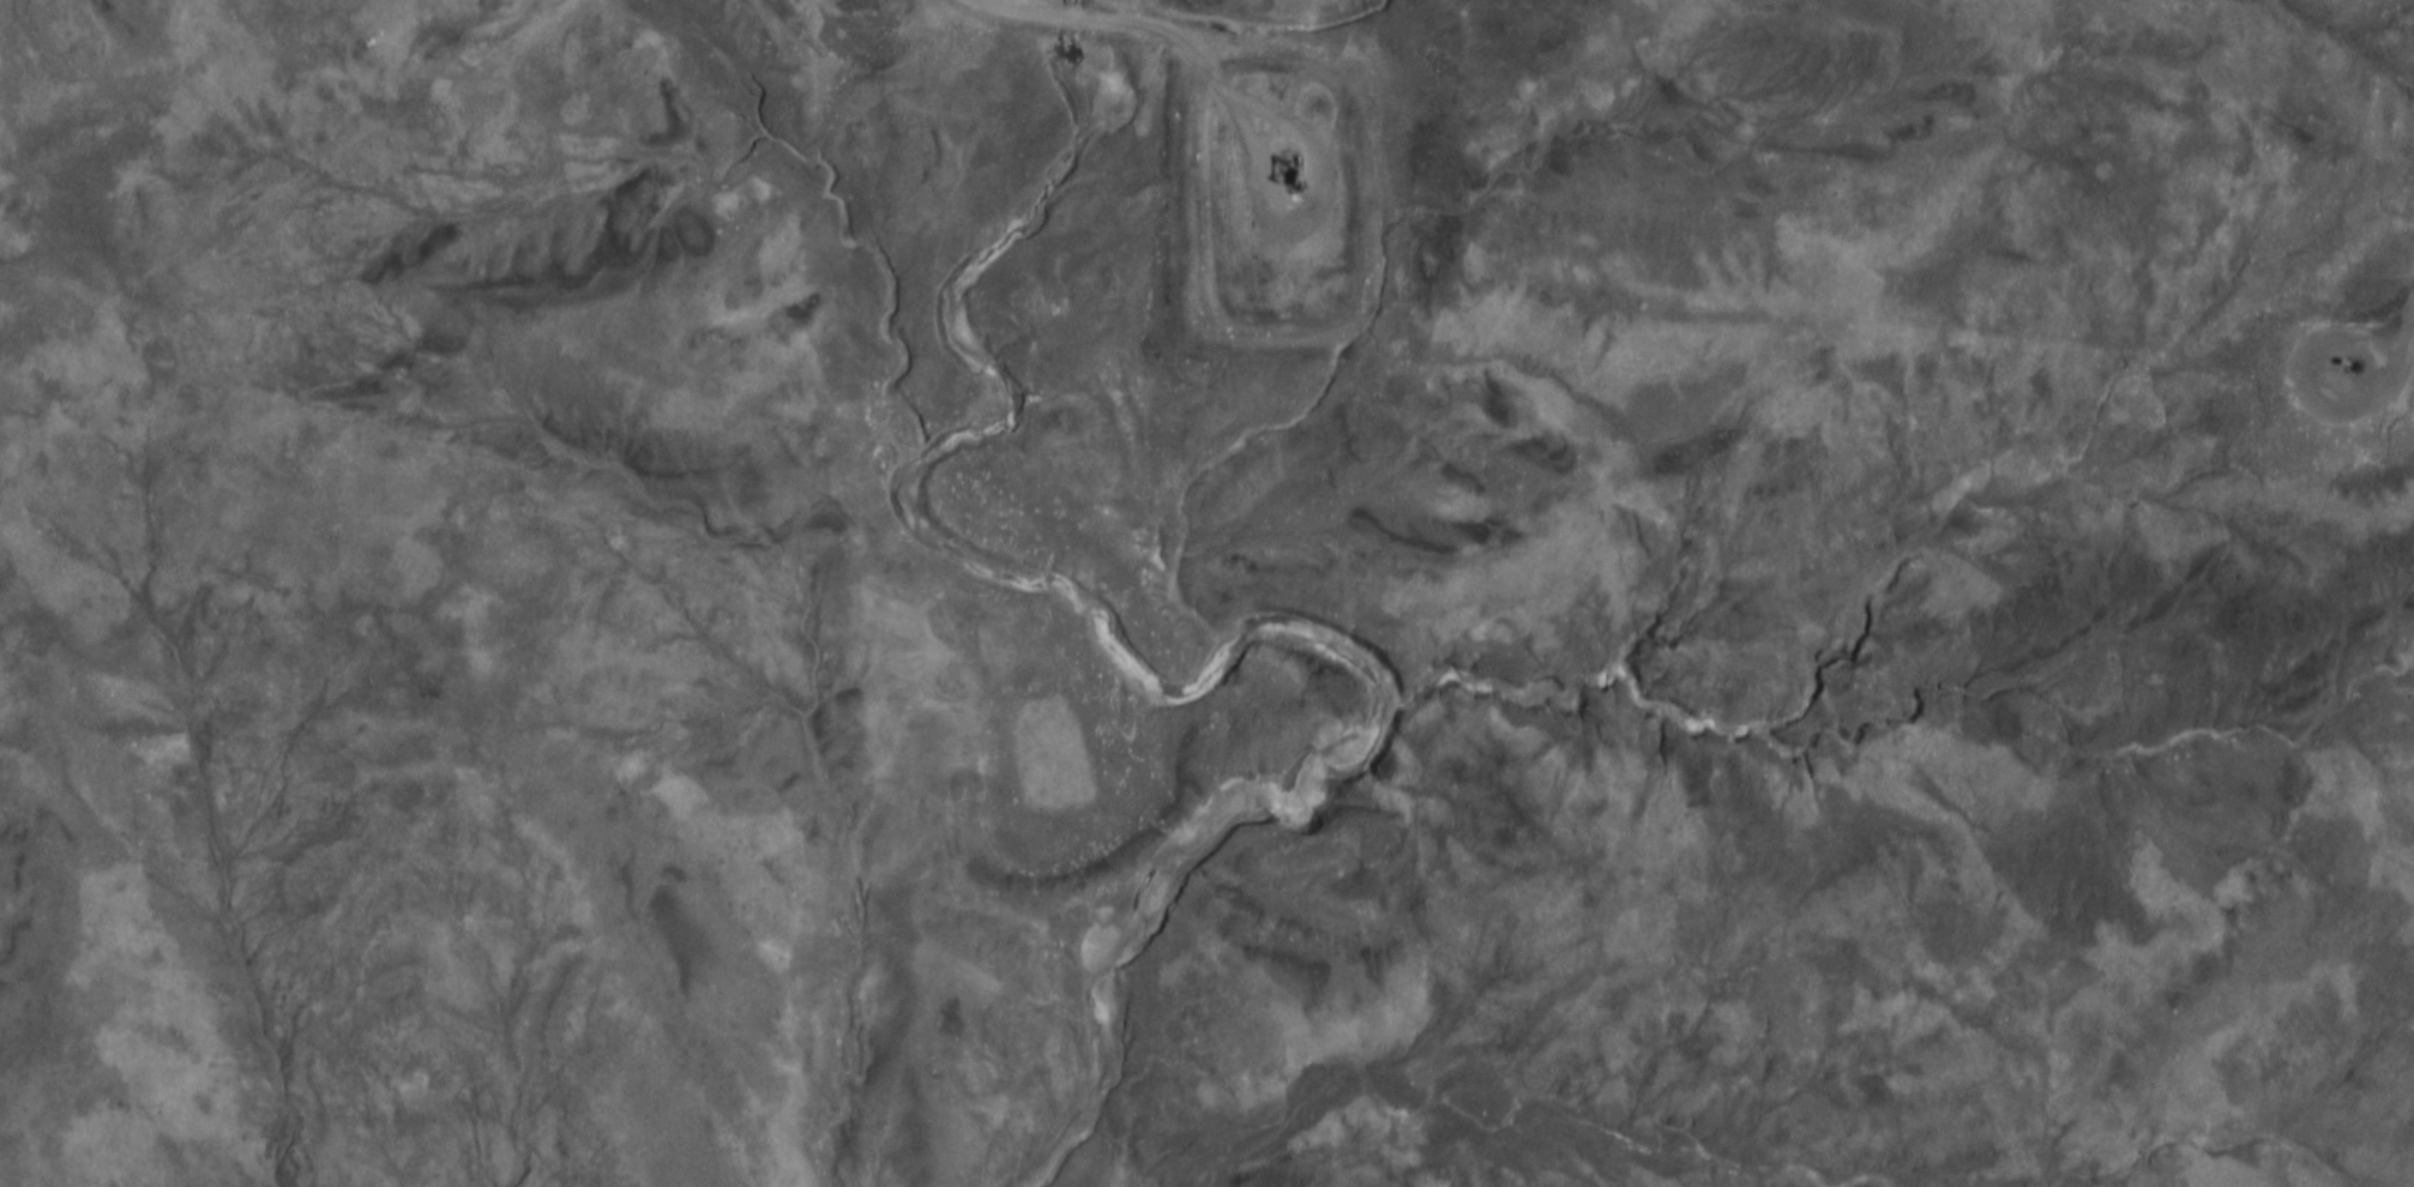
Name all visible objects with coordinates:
road: (1150, 34)
petroleum well: (1290, 173)
road: (2413, 314)
building: (2340, 362)
road: (2298, 398)

